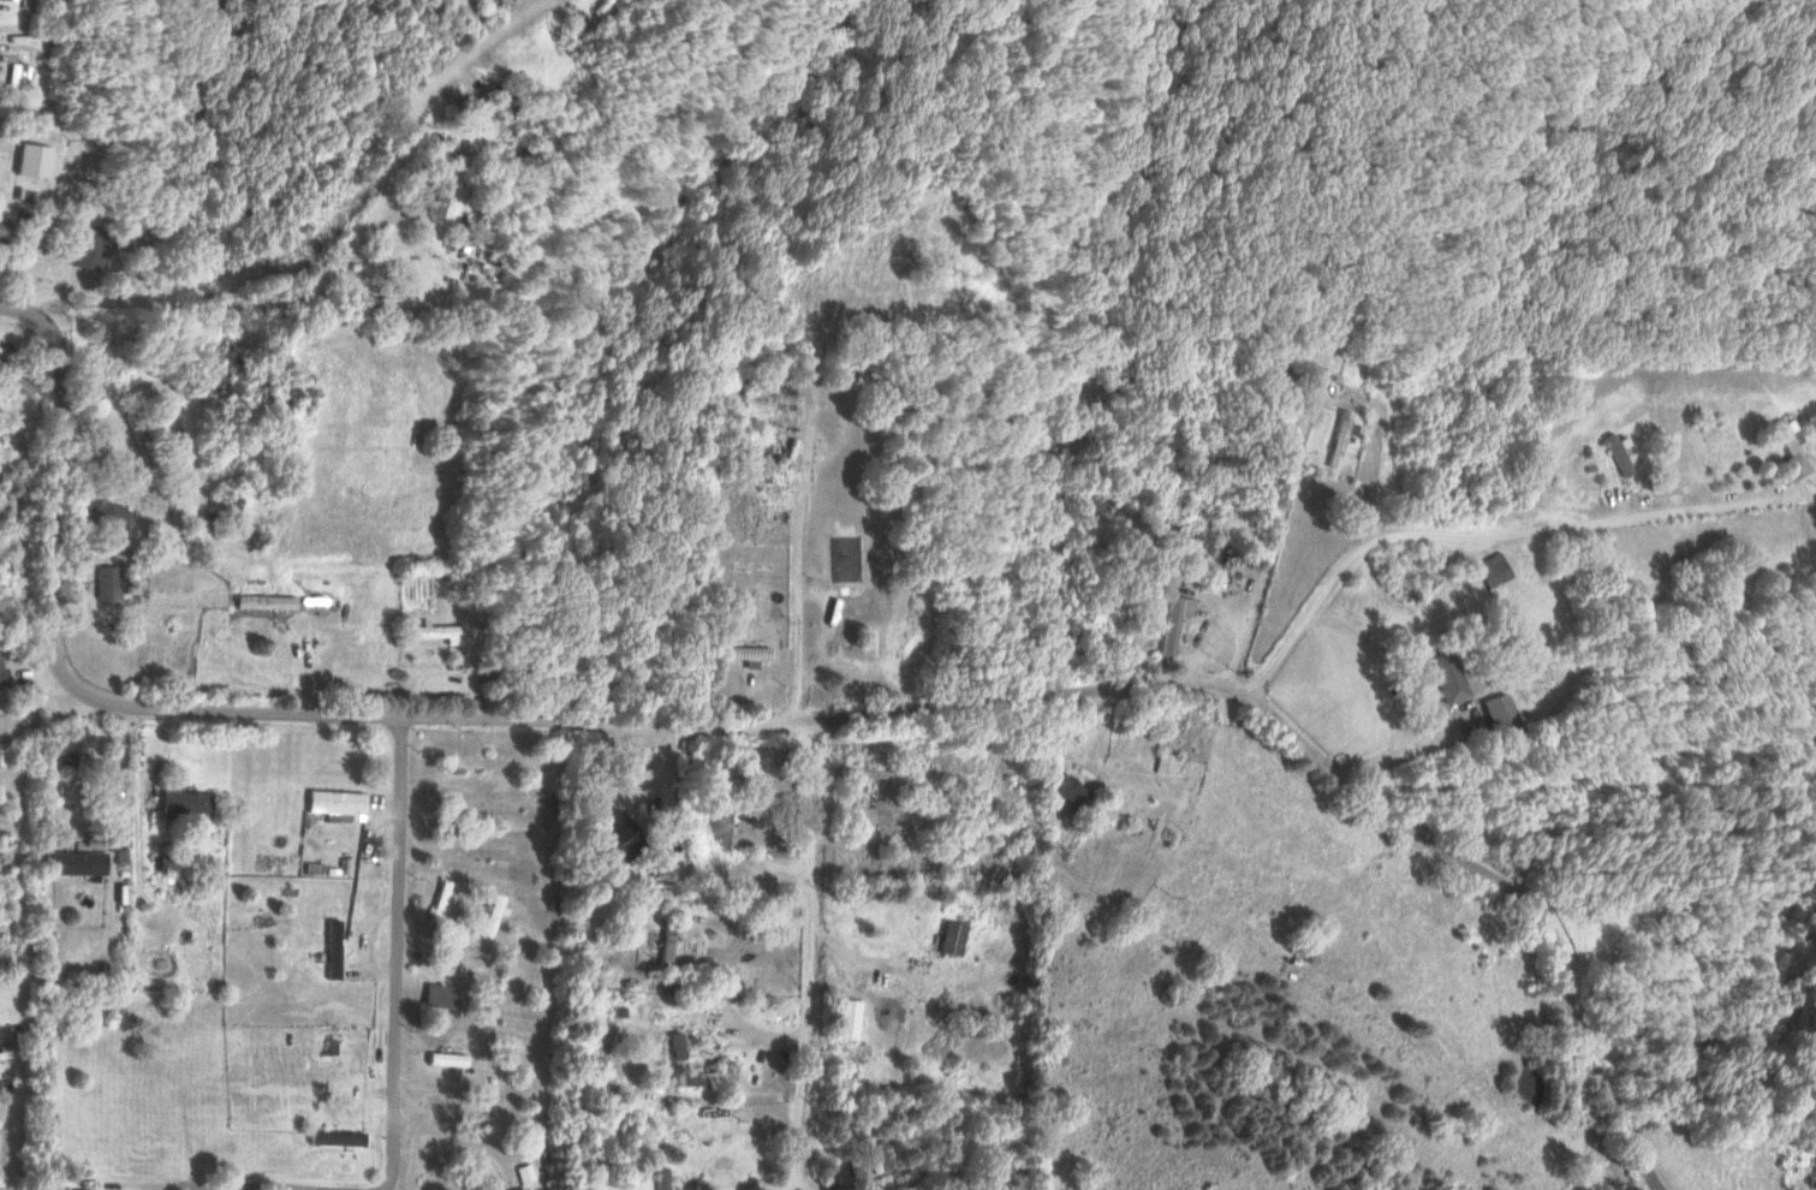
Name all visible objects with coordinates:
building: (578, 23)
building: (13, 77)
building: (1, 159)
building: (436, 195)
road: (352, 237)
building: (87, 248)
road: (28, 314)
building: (1334, 436)
road: (54, 444)
building: (1787, 451)
building: (757, 452)
building: (1613, 452)
building: (96, 510)
road: (1272, 522)
road: (1489, 534)
road: (790, 549)
building: (1487, 569)
building: (1156, 581)
building: (262, 601)
building: (1168, 620)
building: (835, 623)
building: (430, 630)
building: (738, 653)
building: (2, 676)
building: (1440, 677)
road: (934, 702)
building: (1494, 714)
building: (72, 744)
road: (1393, 752)
building: (1163, 762)
building: (1067, 793)
building: (184, 802)
building: (335, 804)
building: (716, 822)
building: (602, 839)
building: (75, 862)
building: (437, 900)
building: (490, 914)
building: (951, 935)
building: (666, 942)
building: (332, 948)
road: (811, 954)
road: (1175, 976)
road: (857, 984)
building: (439, 995)
building: (847, 1017)
road: (399, 1047)
building: (708, 1075)
road: (191, 1118)
building: (335, 1136)
building: (877, 1155)
building: (526, 1171)
building: (662, 1178)
road: (373, 1188)
building: (73, 1189)
building: (520, 1189)

